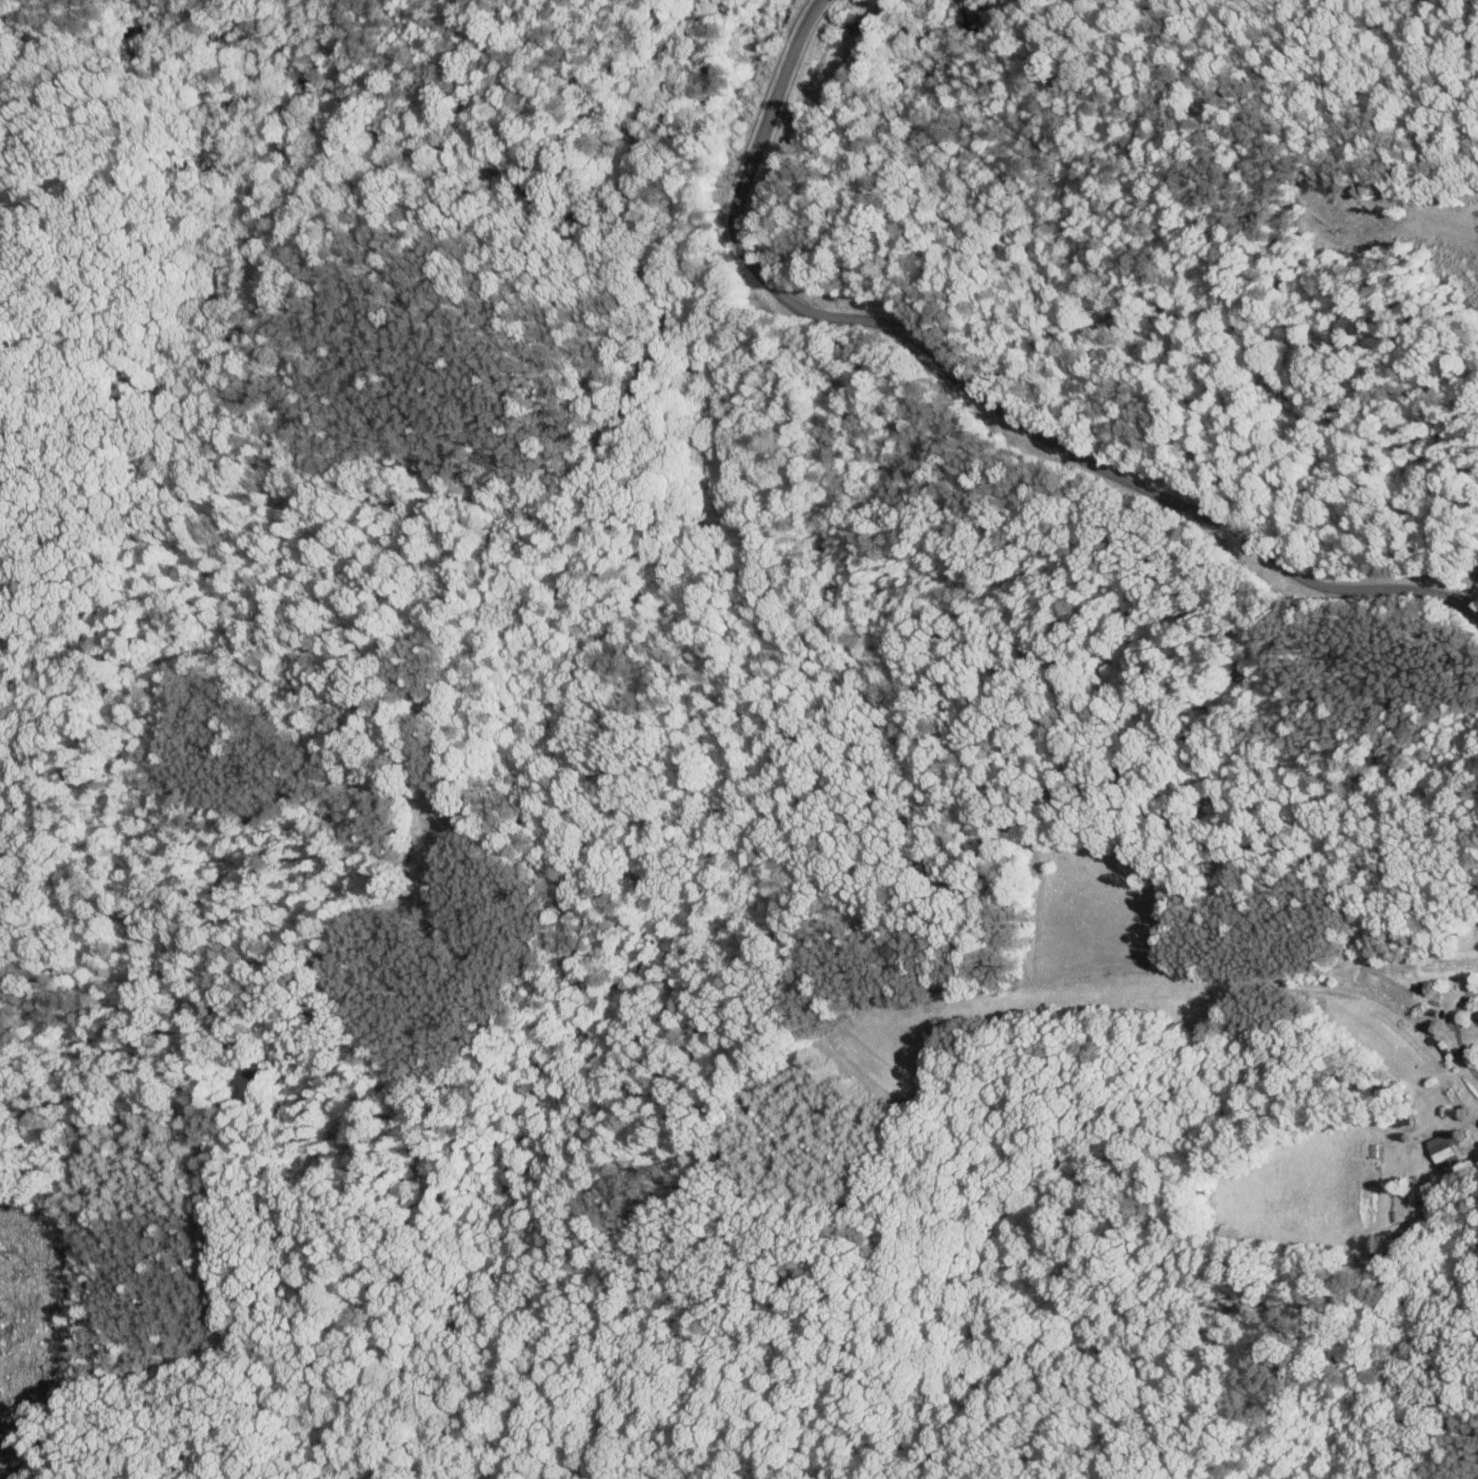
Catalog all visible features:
road: (980, 399)
road: (1470, 594)
building: (1476, 1016)
building: (1438, 1150)
building: (1413, 1193)

